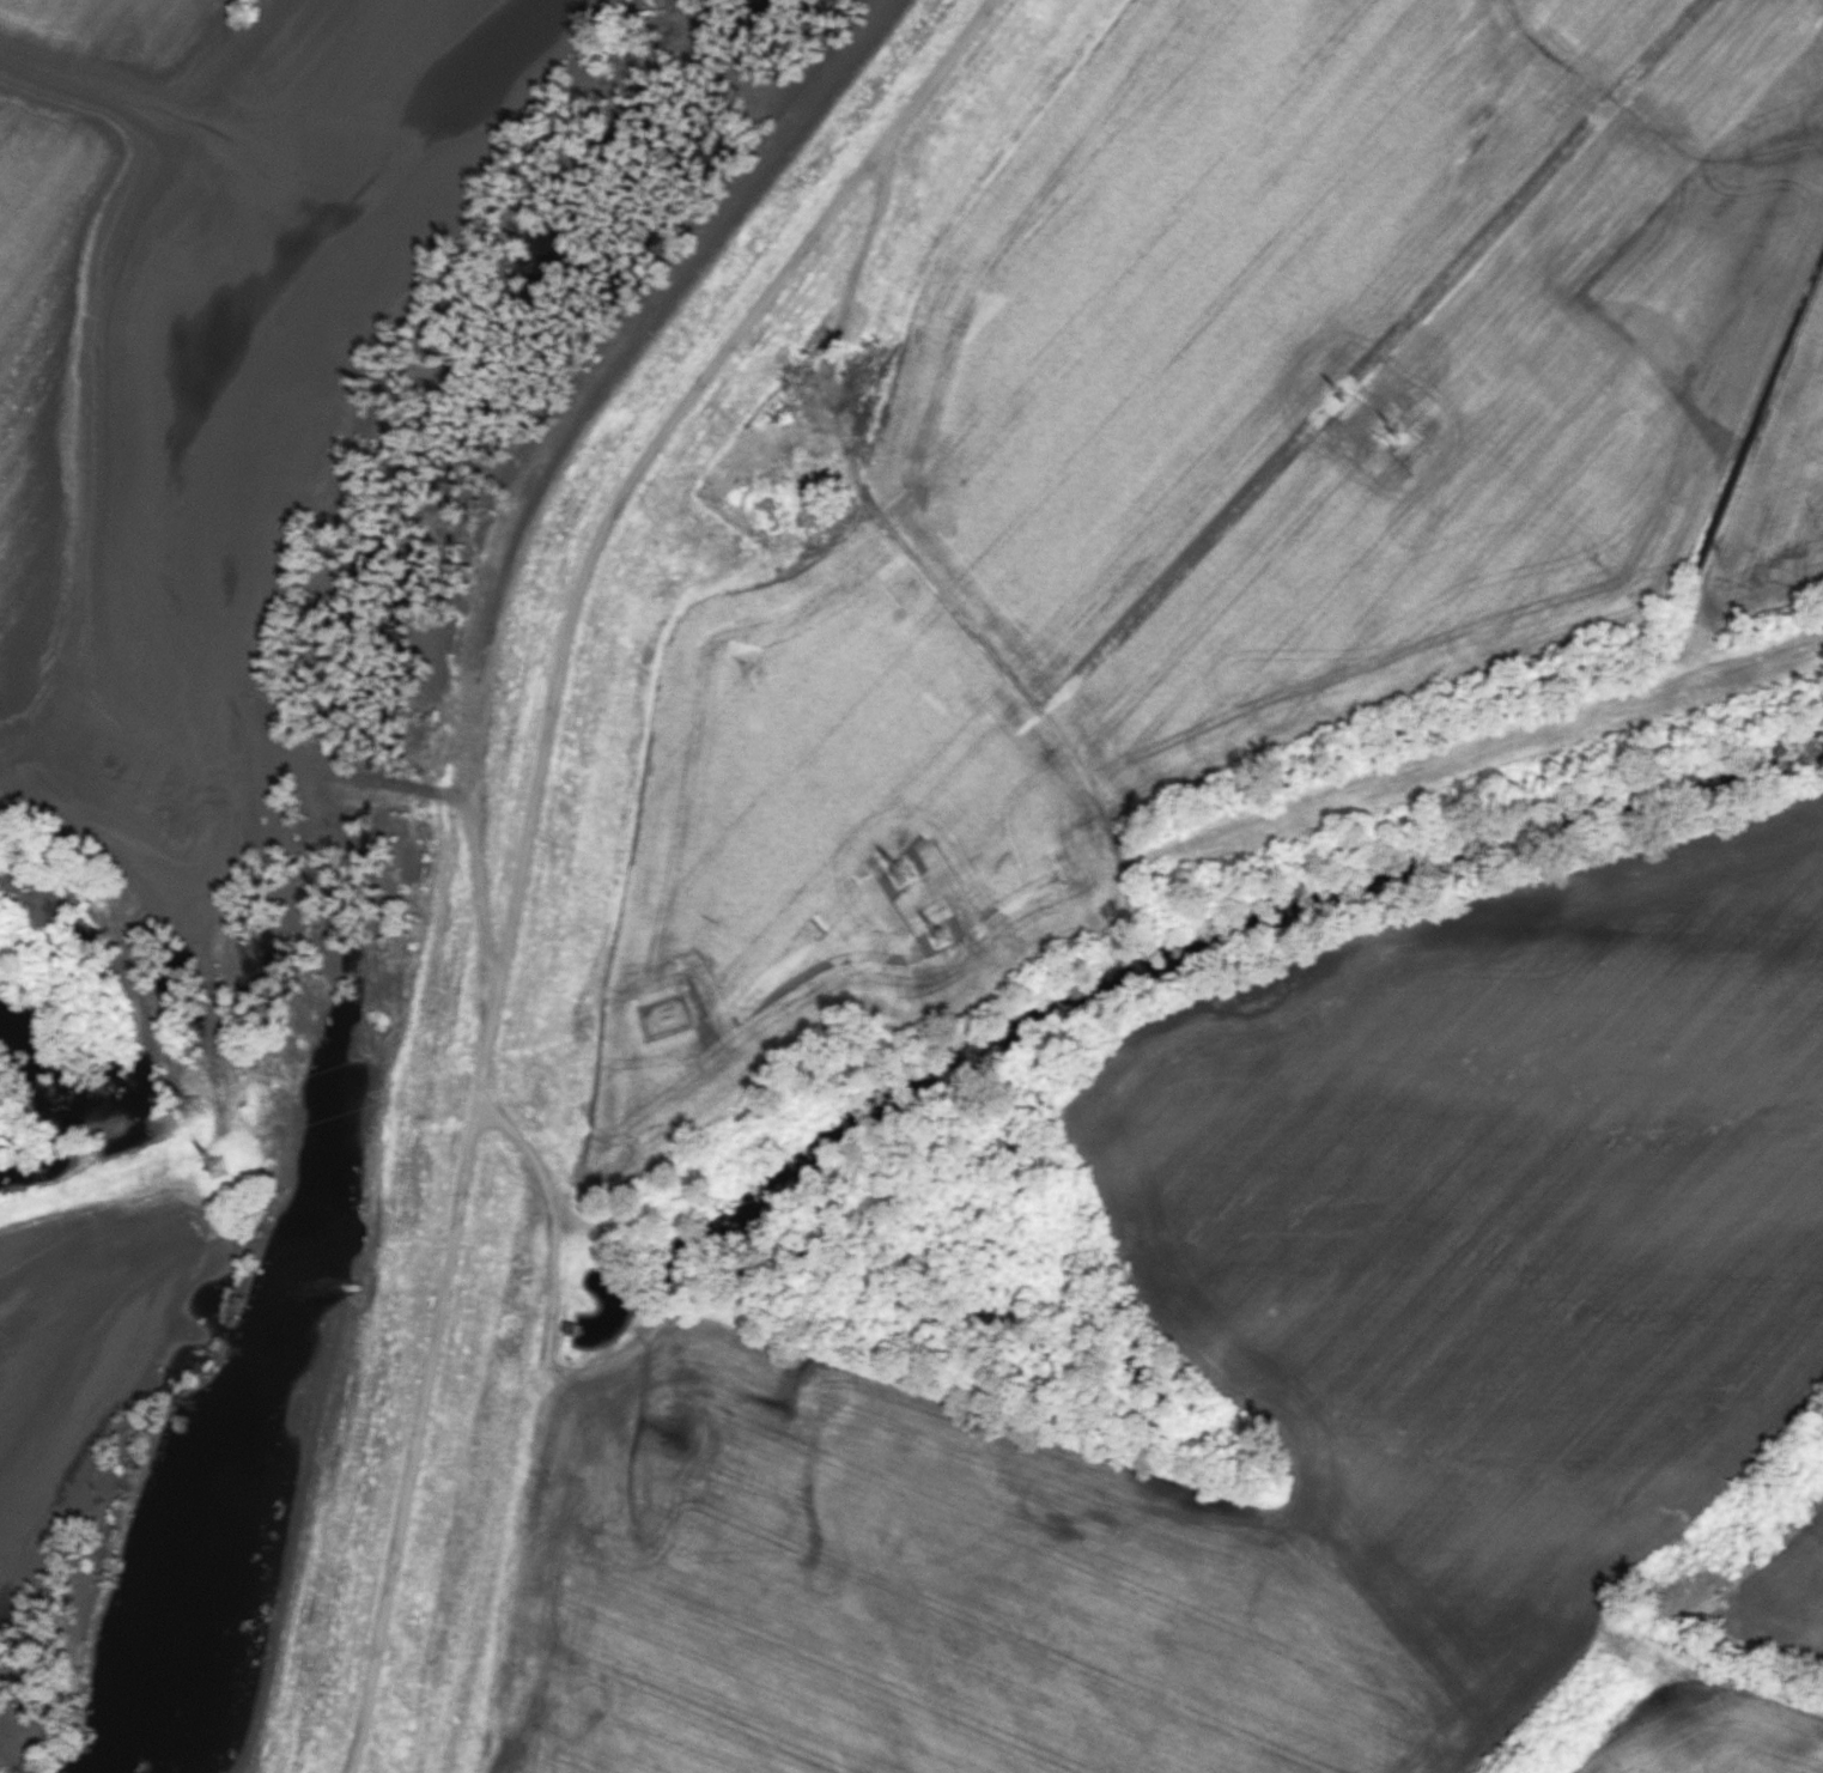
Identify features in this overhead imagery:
crop: (199, 359)
power tower: (1342, 395)
power tower: (1397, 444)
crop: (1228, 480)
road: (534, 827)
power tower: (894, 886)
power tower: (940, 948)
power tower: (190, 1121)
power tower: (218, 1185)
crop: (78, 1314)
crop: (1266, 1376)
crop: (1786, 1593)
crop: (1710, 1730)

